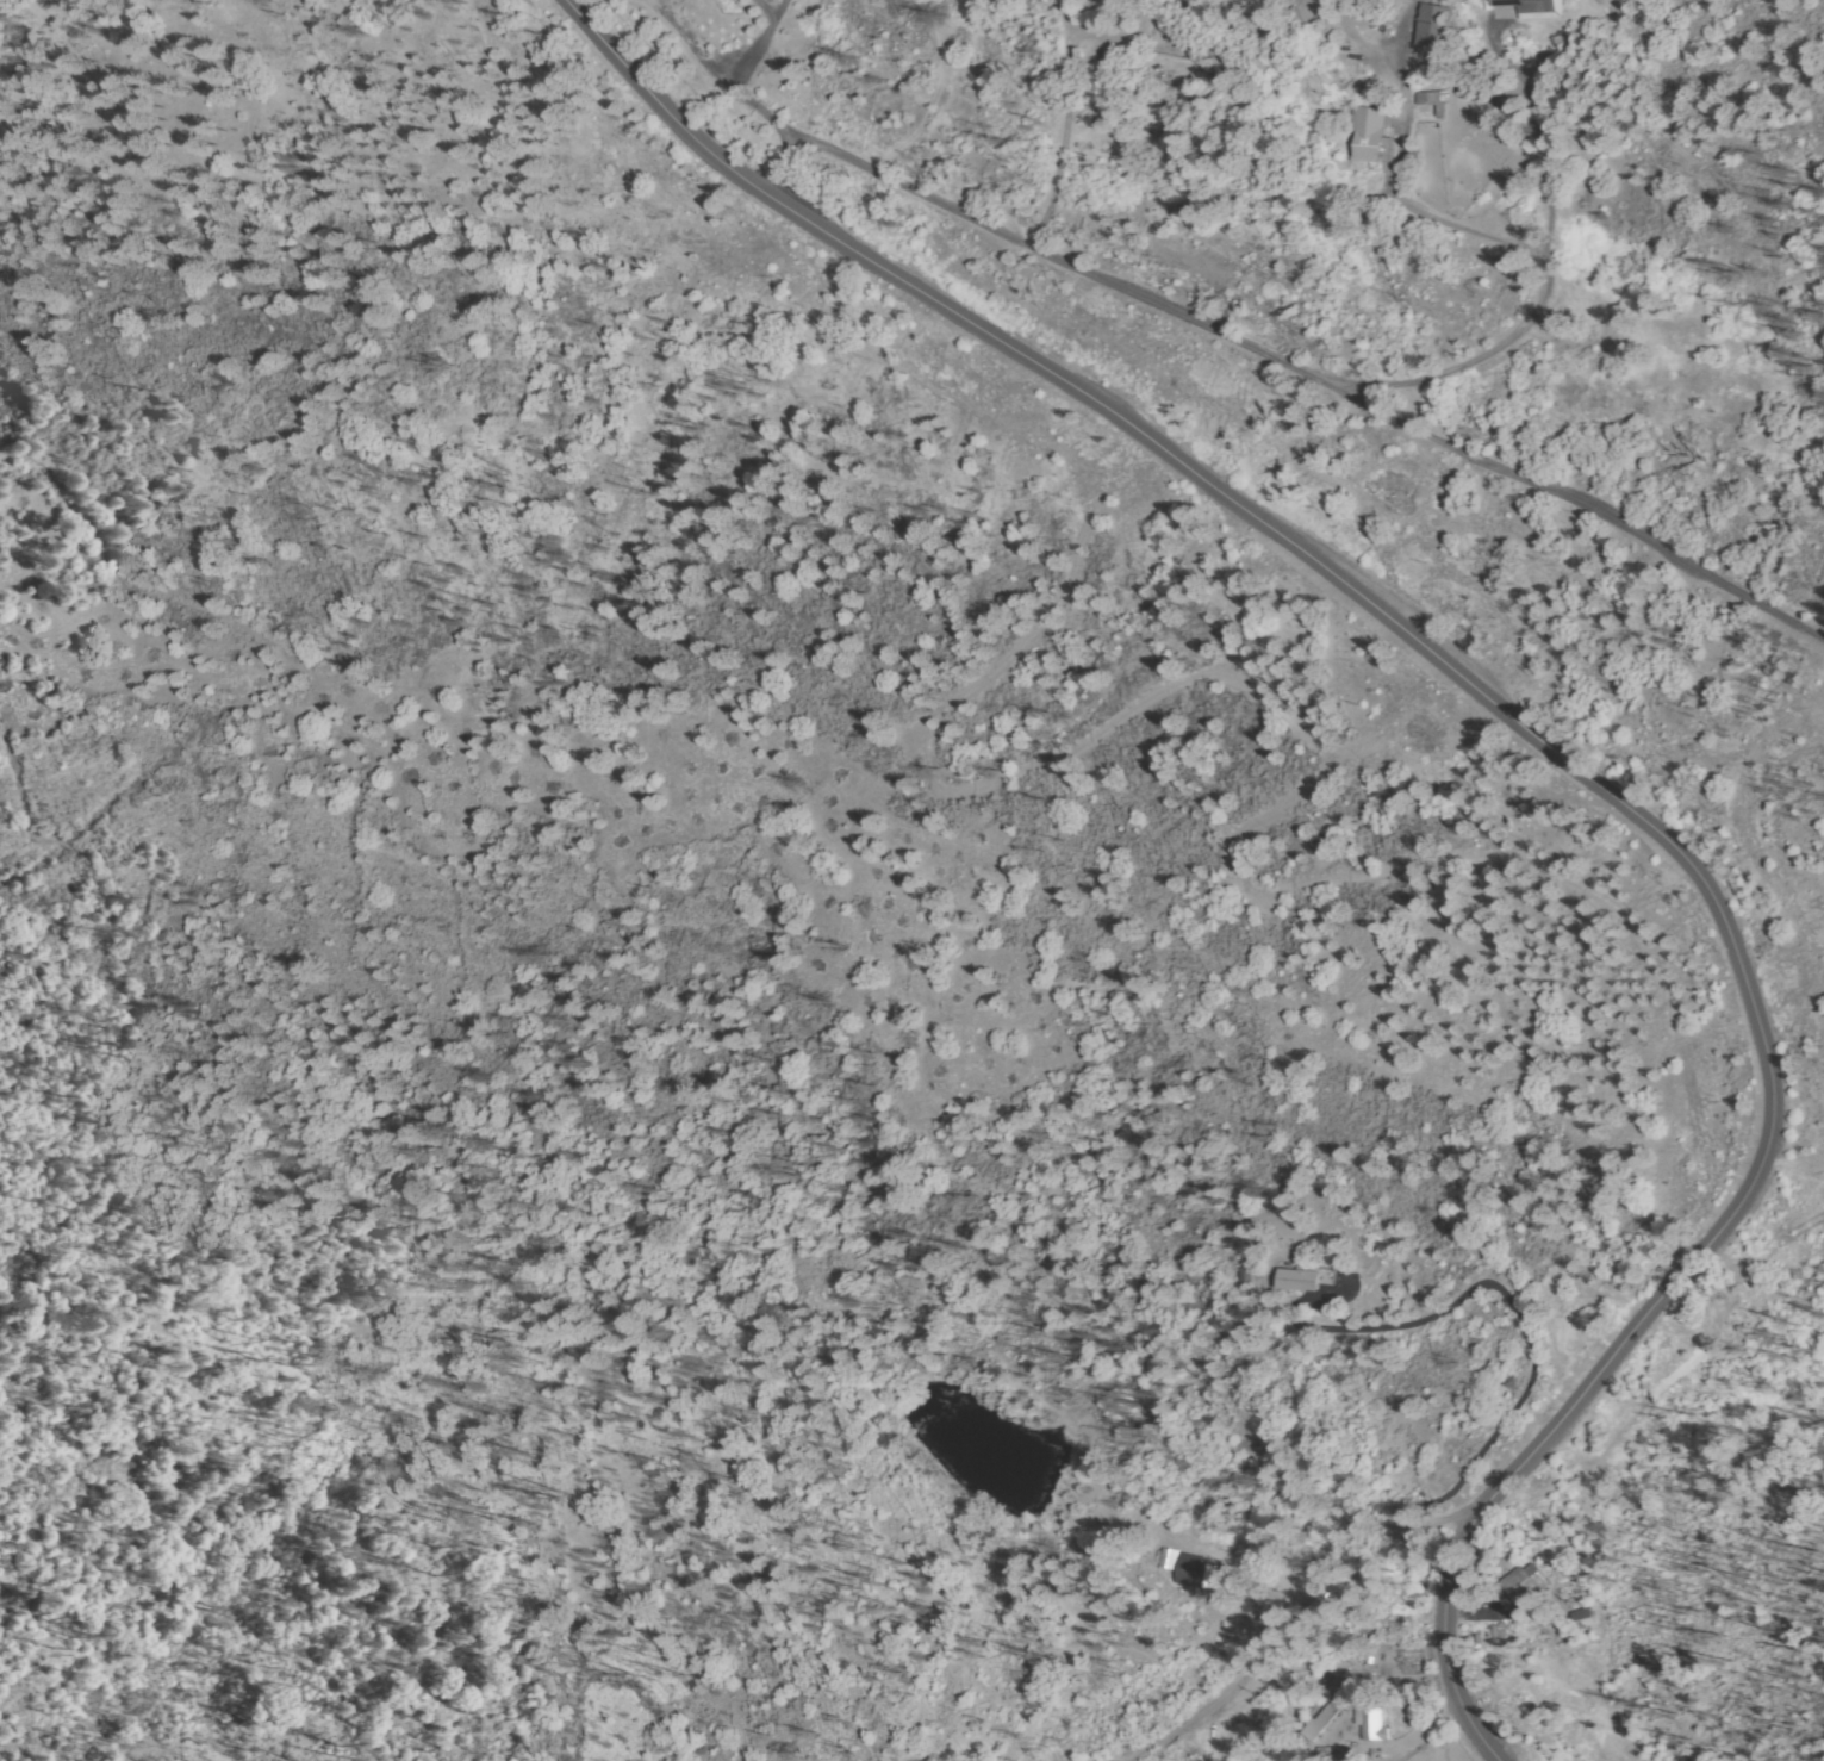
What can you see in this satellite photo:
building: (1103, 1)
building: (1537, 7)
building: (1432, 25)
building: (1433, 101)
building: (1365, 135)
road: (1224, 338)
road: (1532, 742)
building: (1247, 1276)
building: (1296, 1278)
road: (1457, 1448)
building: (1170, 1558)
building: (1193, 1569)
building: (1529, 1581)
building: (1580, 1617)
road: (1293, 1668)
building: (1369, 1720)
building: (1319, 1726)
building: (1333, 1754)

